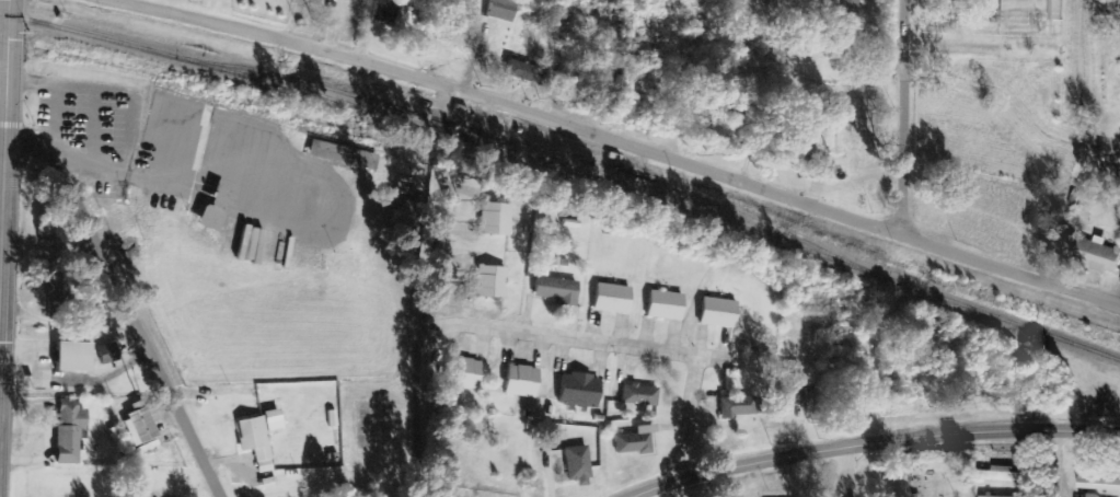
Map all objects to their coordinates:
building: (1057, 10)
building: (386, 11)
building: (847, 11)
building: (501, 13)
building: (526, 72)
building: (609, 74)
road: (2, 115)
road: (909, 123)
road: (623, 150)
building: (340, 154)
railway: (564, 170)
building: (403, 213)
building: (496, 219)
building: (47, 226)
road: (463, 243)
building: (1069, 246)
building: (1099, 255)
building: (492, 281)
building: (557, 290)
building: (58, 294)
building: (613, 298)
road: (126, 300)
building: (666, 305)
building: (719, 312)
road: (634, 348)
building: (109, 352)
building: (76, 356)
building: (466, 373)
building: (523, 381)
building: (793, 386)
building: (580, 390)
building: (640, 395)
building: (738, 406)
road: (448, 413)
building: (274, 416)
building: (140, 426)
building: (70, 430)
building: (256, 441)
building: (636, 441)
road: (869, 443)
building: (578, 465)
road: (1065, 465)
road: (854, 471)
building: (1006, 476)
building: (1100, 485)
building: (901, 493)
building: (1094, 496)

